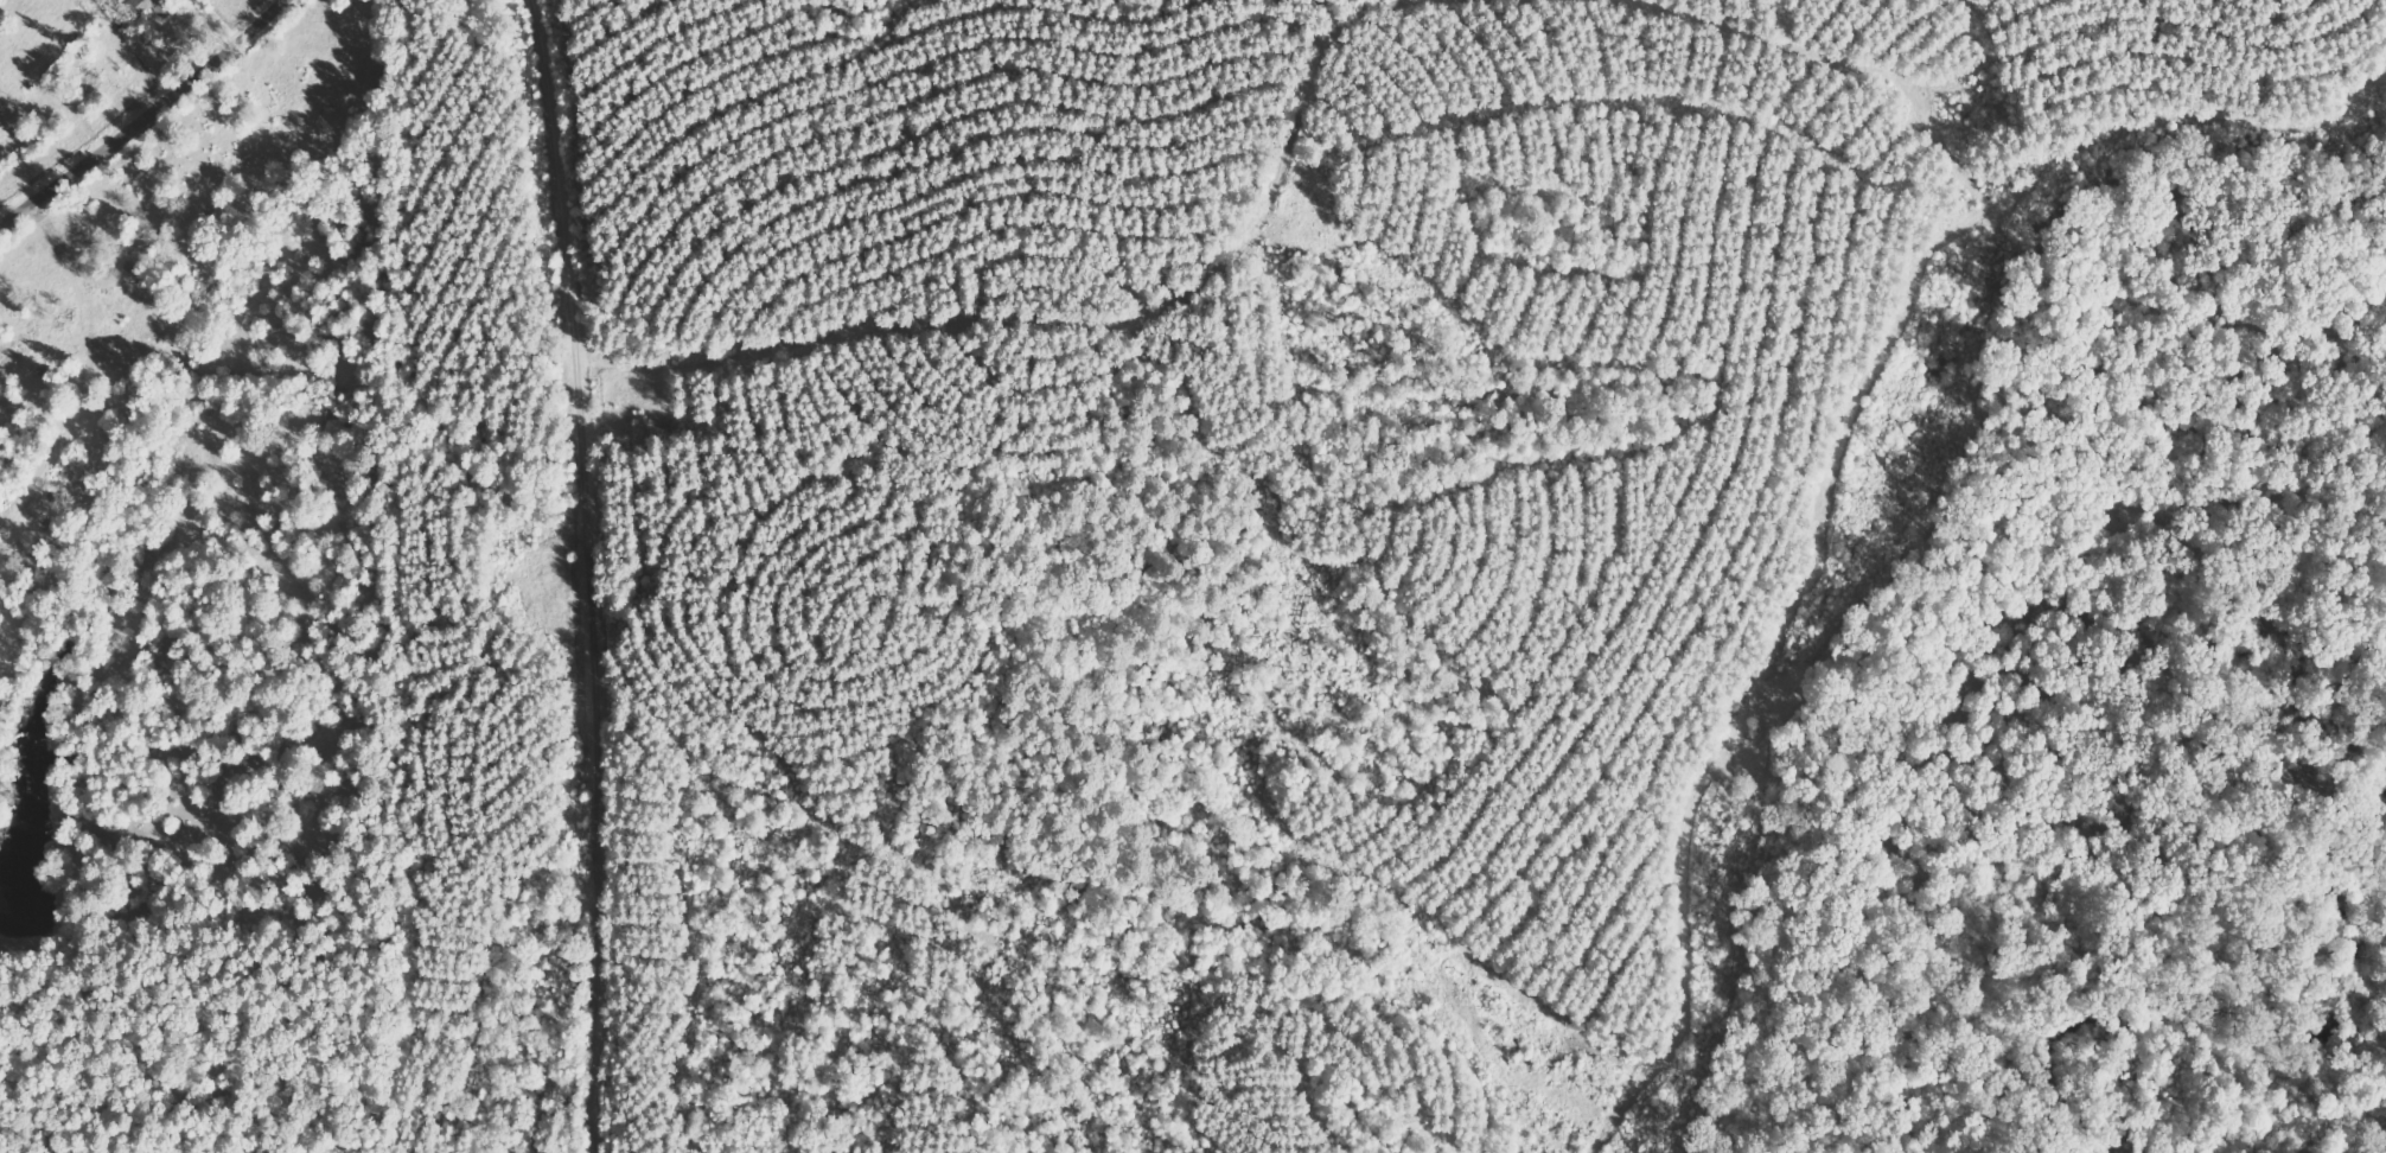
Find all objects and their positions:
building: (155, 6)
road: (127, 93)

